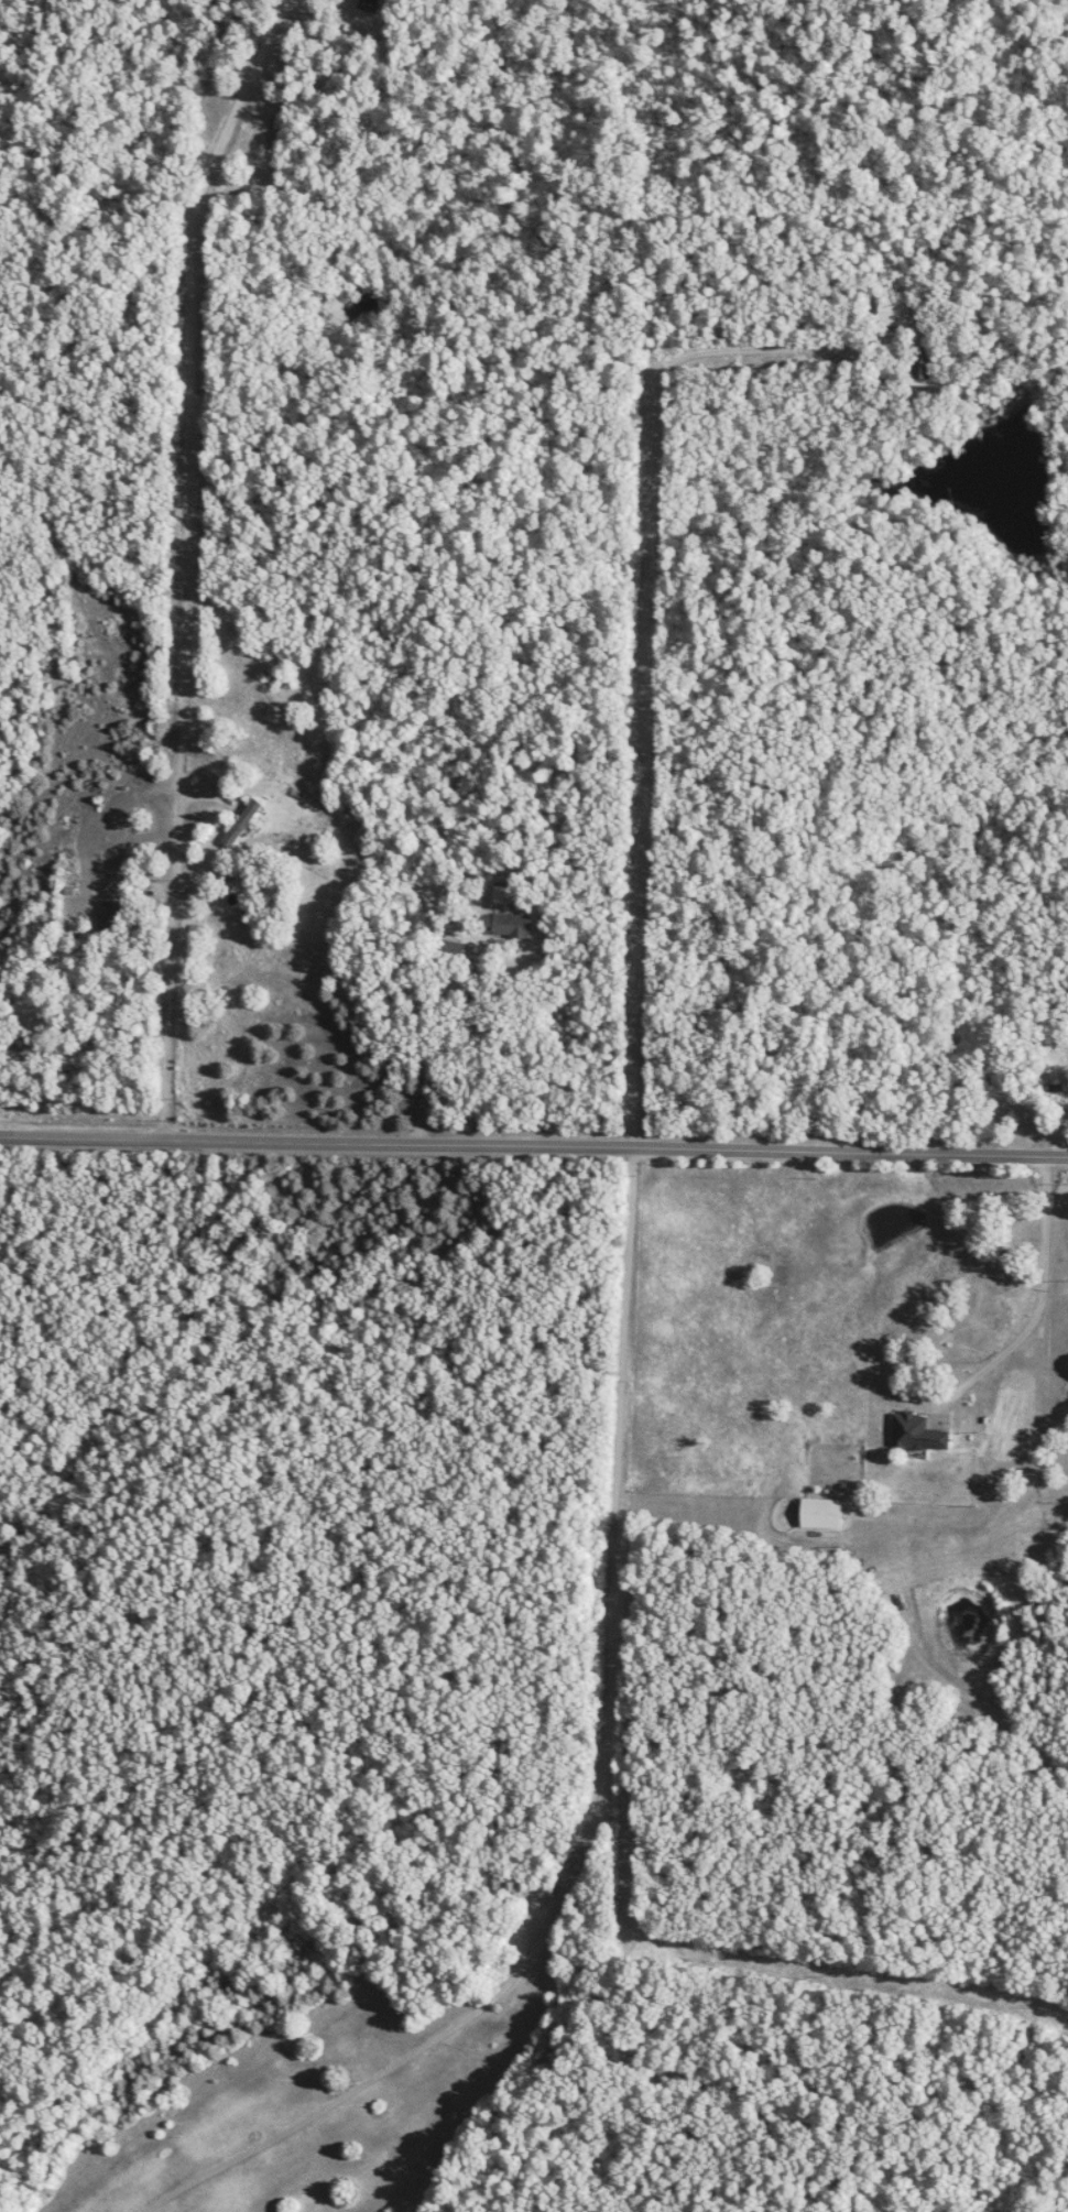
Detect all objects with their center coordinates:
building: (370, 4)
building: (891, 312)
building: (922, 363)
road: (189, 560)
road: (655, 662)
building: (240, 821)
building: (502, 892)
building: (112, 903)
building: (502, 924)
building: (453, 949)
road: (421, 1063)
building: (1054, 1099)
road: (534, 1148)
road: (1040, 1295)
building: (915, 1431)
building: (819, 1511)
road: (592, 1794)

